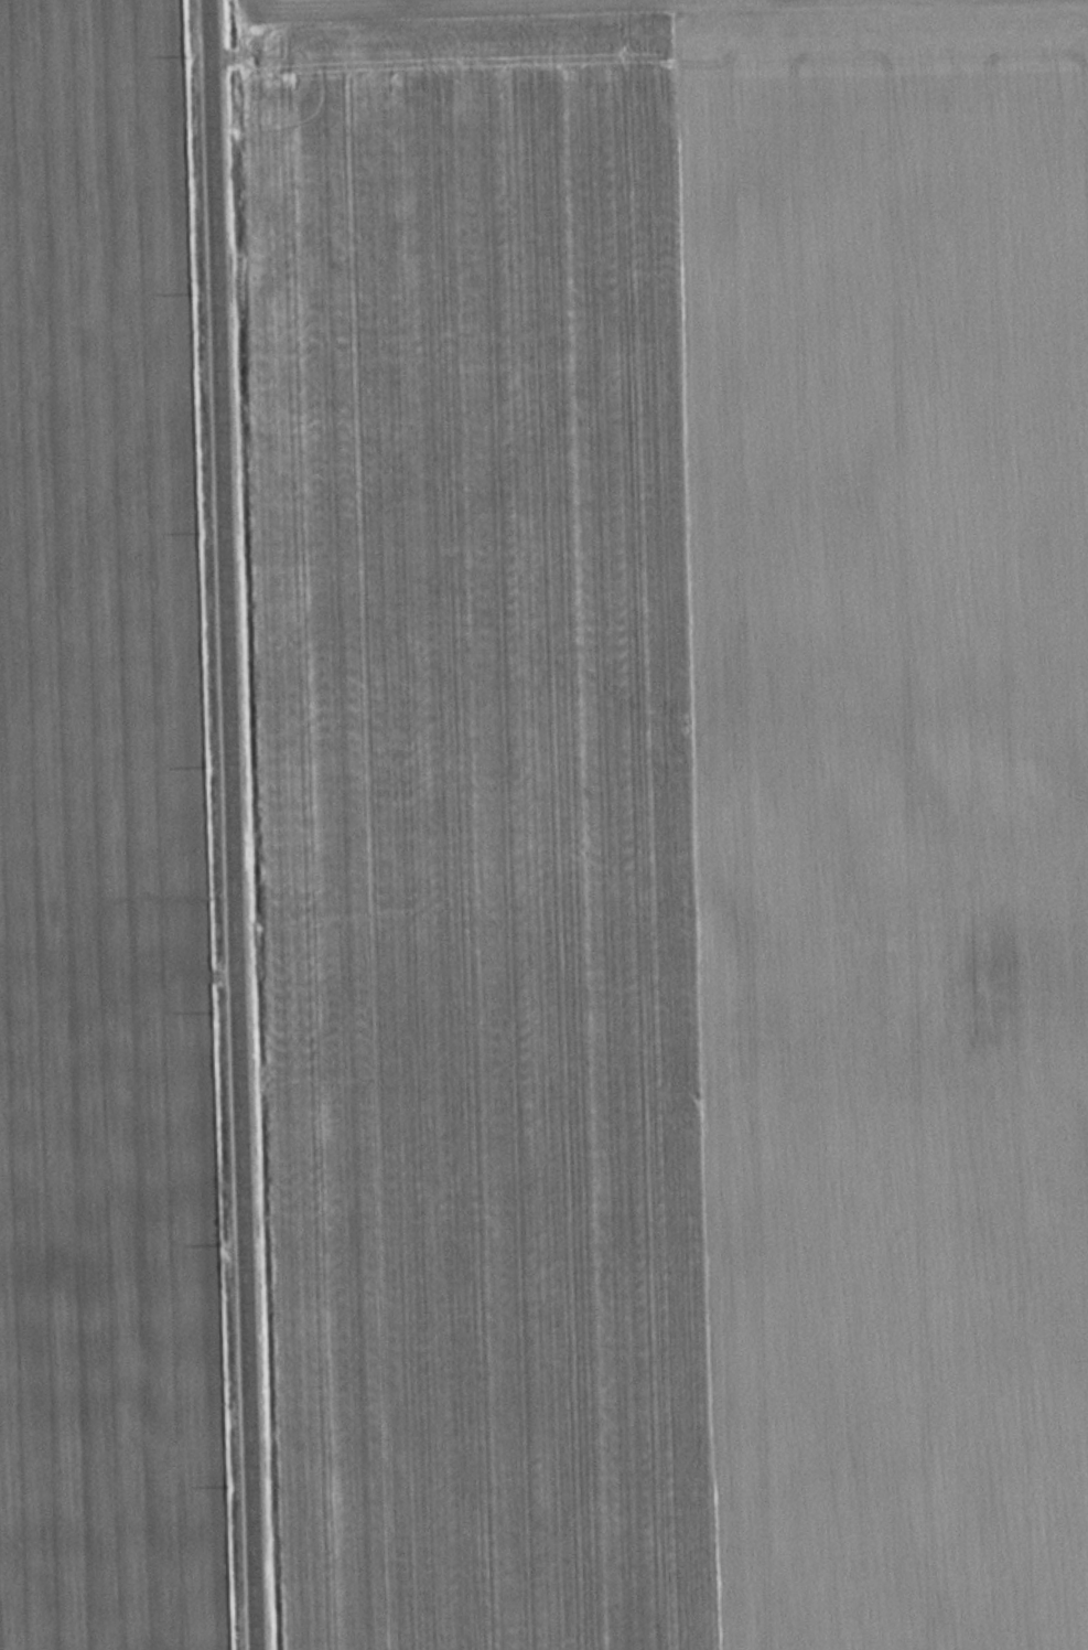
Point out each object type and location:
road: (234, 825)

